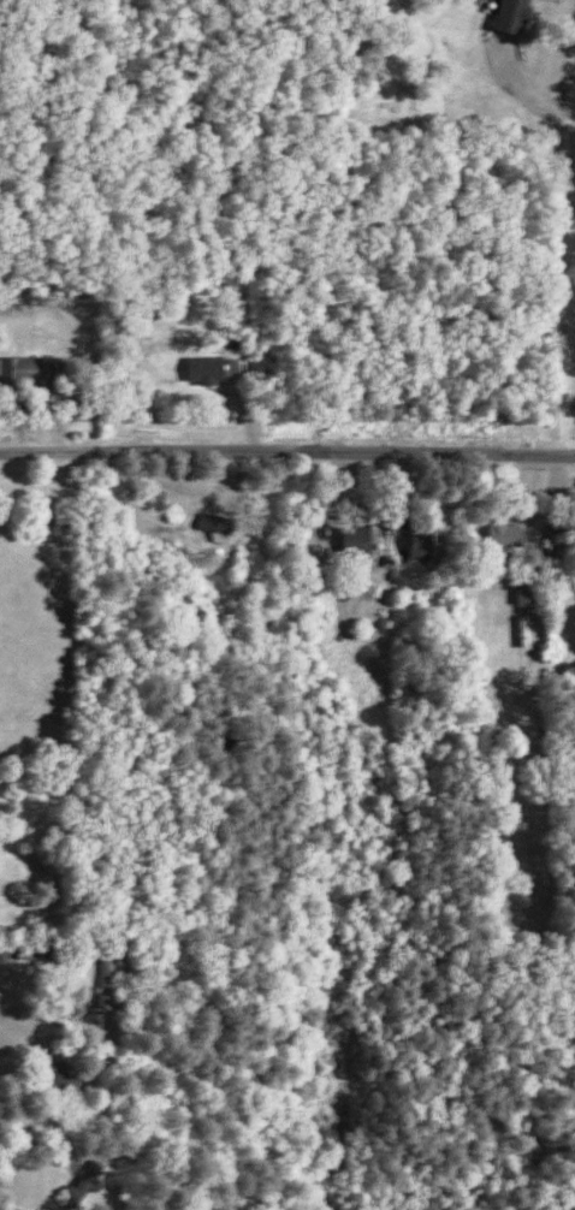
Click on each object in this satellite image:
building: (514, 16)
road: (562, 269)
building: (29, 369)
building: (208, 369)
road: (286, 450)
building: (161, 498)
building: (219, 522)
building: (508, 533)
building: (224, 536)
building: (360, 541)
building: (428, 541)
building: (530, 588)
building: (530, 631)
building: (112, 981)
building: (67, 1074)
road: (31, 1117)
building: (97, 1174)

